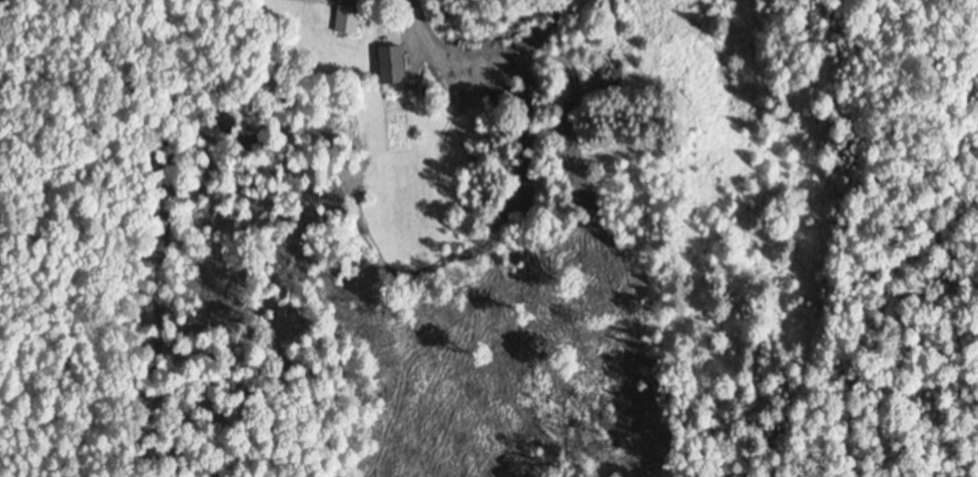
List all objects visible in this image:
building: (316, 0)
building: (349, 18)

